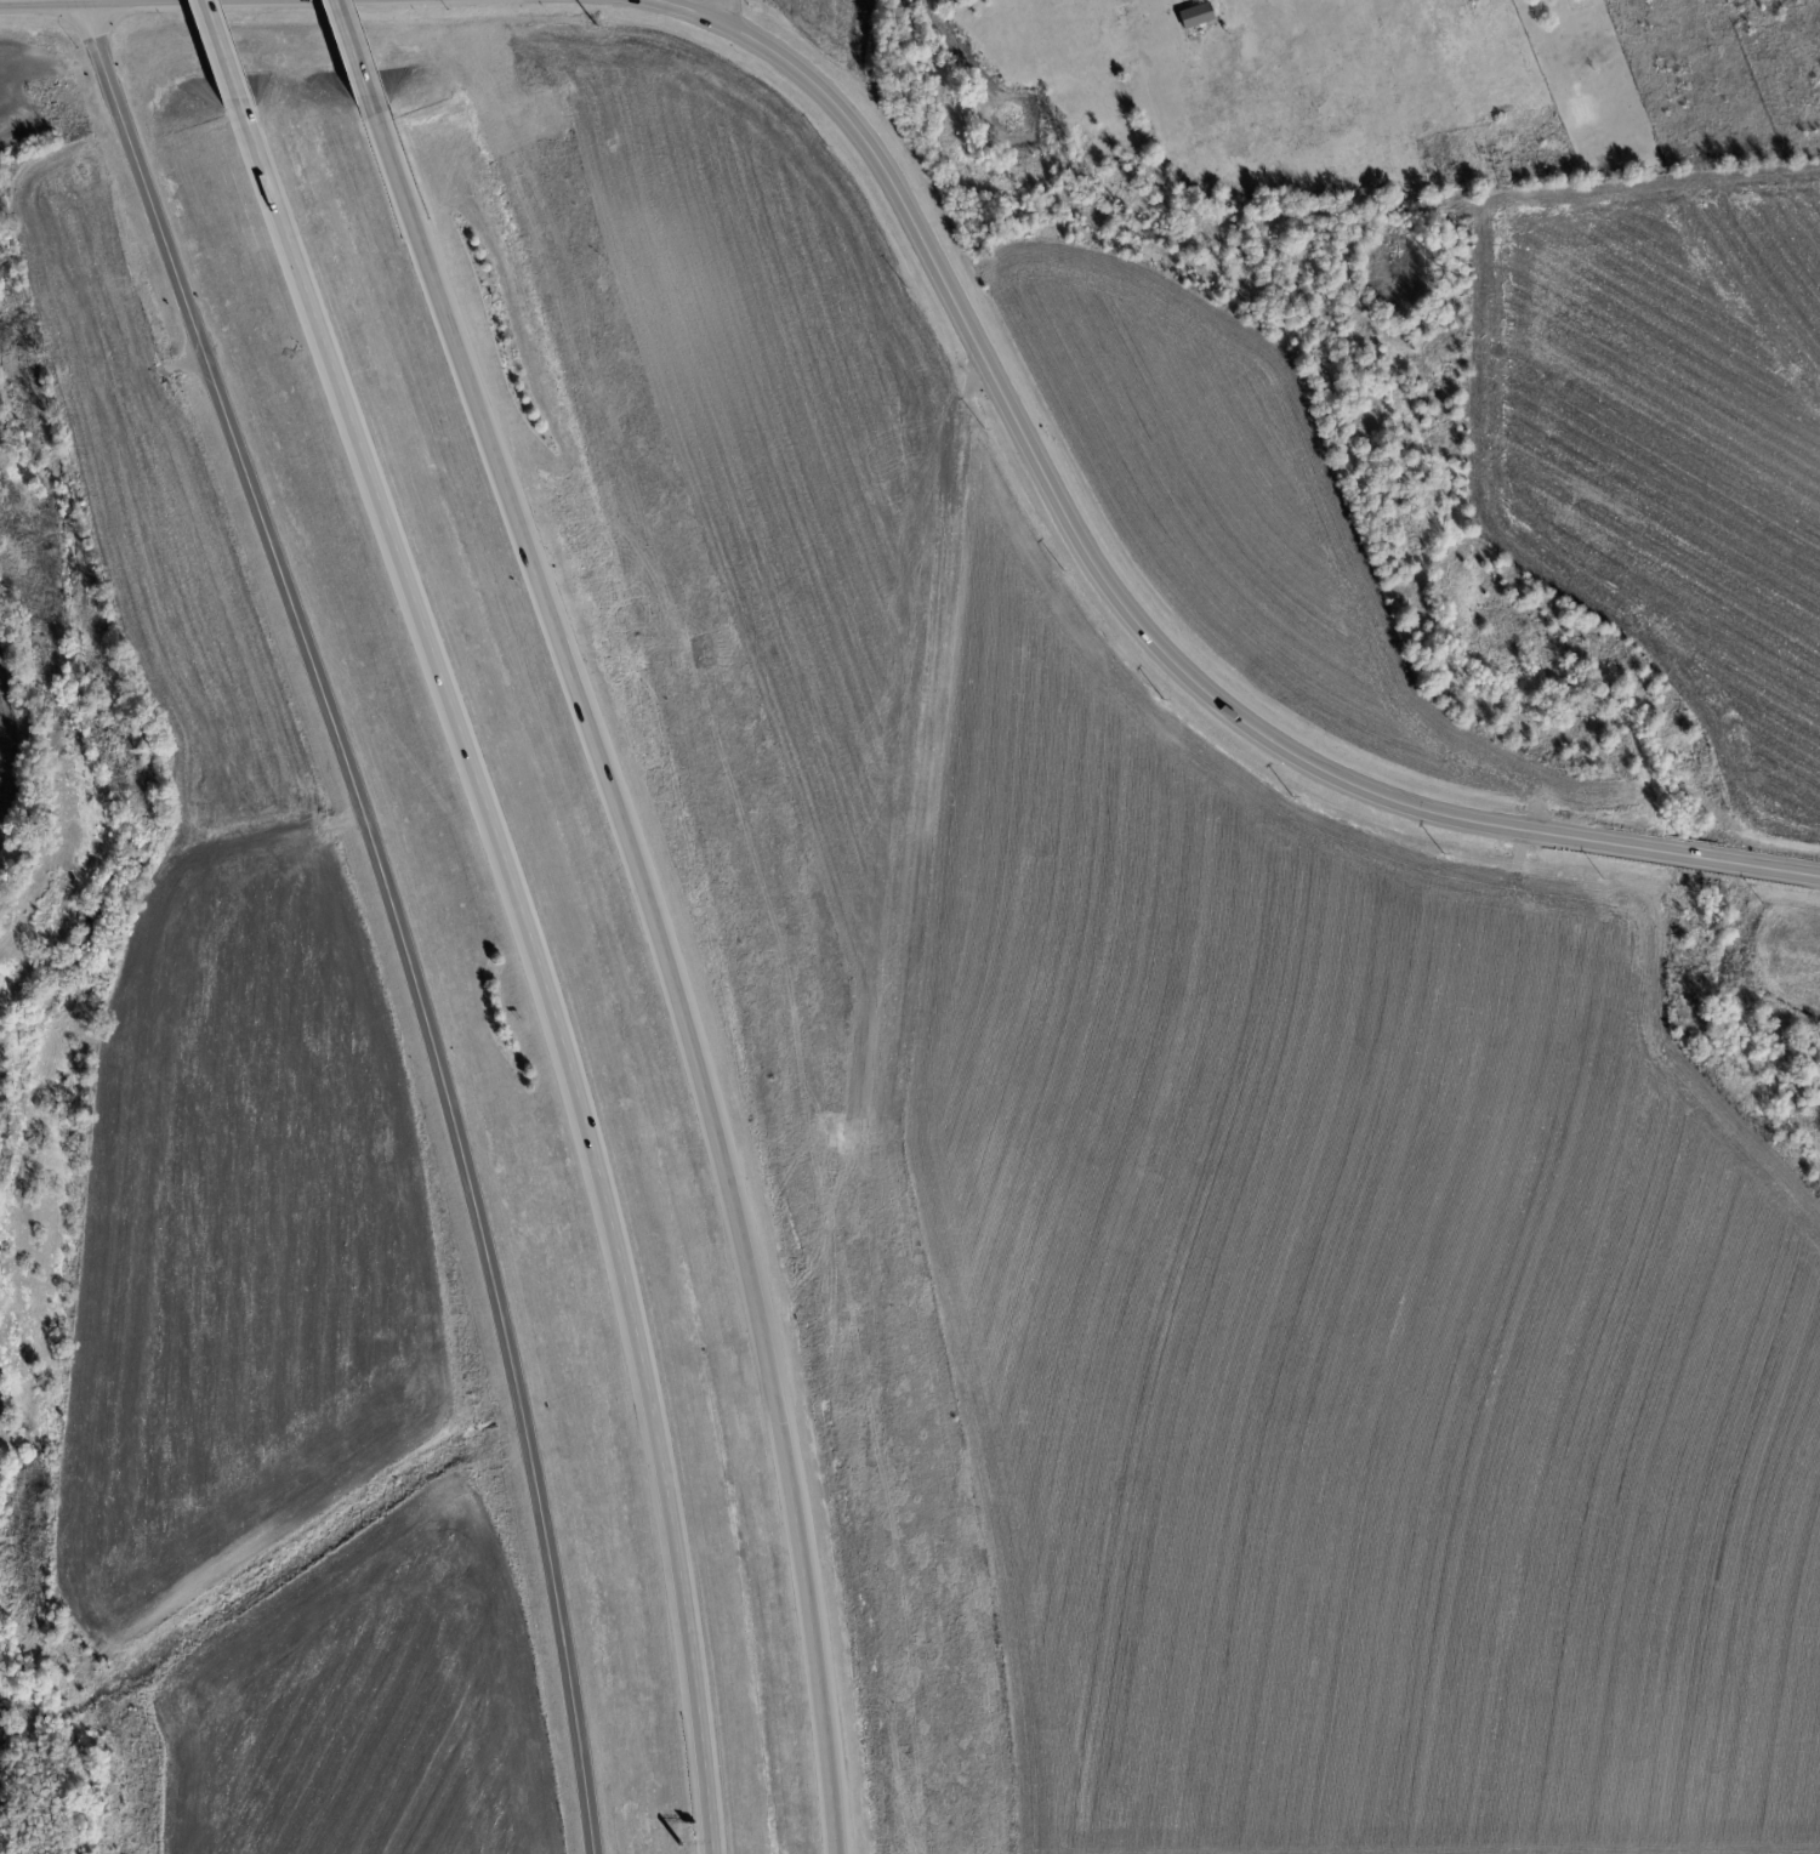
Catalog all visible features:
road: (78, 0)
road: (62, 1)
road: (688, 8)
road: (718, 8)
building: (1195, 15)
road: (218, 57)
road: (356, 58)
road: (1141, 618)
road: (396, 911)
road: (539, 967)
road: (676, 967)

